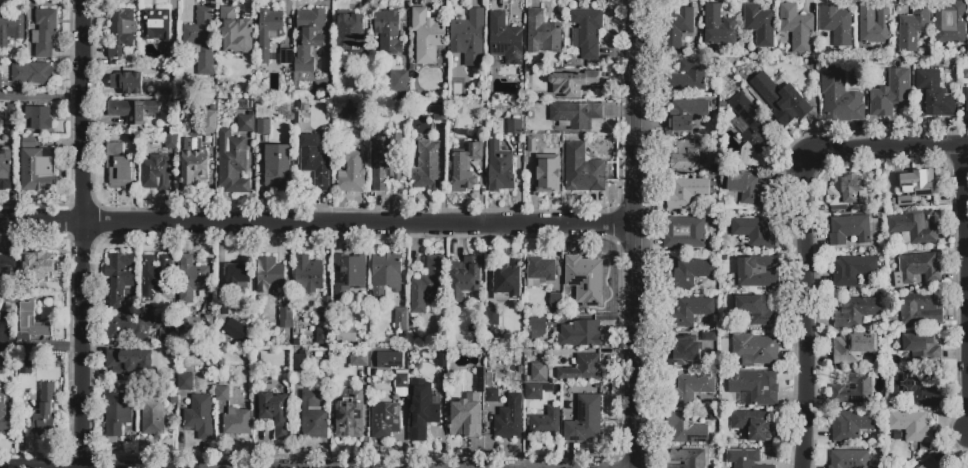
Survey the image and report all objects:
building: (950, 23)
building: (156, 24)
building: (759, 24)
building: (836, 24)
building: (873, 24)
building: (677, 26)
building: (11, 27)
building: (718, 27)
building: (796, 27)
building: (912, 28)
building: (45, 31)
building: (122, 32)
building: (234, 32)
building: (269, 32)
building: (587, 32)
building: (350, 33)
building: (388, 33)
building: (542, 33)
building: (427, 36)
building: (309, 37)
building: (469, 37)
building: (505, 39)
building: (201, 40)
building: (285, 56)
building: (172, 61)
building: (858, 66)
building: (33, 73)
building: (689, 75)
building: (0, 81)
building: (400, 81)
building: (573, 82)
building: (131, 83)
building: (891, 94)
building: (933, 95)
building: (839, 96)
building: (780, 98)
road: (41, 100)
building: (966, 102)
building: (132, 110)
building: (344, 111)
building: (437, 112)
building: (479, 114)
building: (686, 114)
building: (575, 115)
building: (12, 116)
building: (39, 117)
building: (209, 119)
building: (246, 124)
building: (263, 125)
building: (514, 126)
building: (750, 131)
building: (171, 140)
building: (685, 156)
building: (314, 158)
building: (193, 161)
building: (232, 162)
building: (386, 162)
building: (118, 165)
building: (6, 167)
building: (37, 167)
building: (426, 167)
building: (500, 167)
building: (543, 167)
building: (277, 168)
building: (464, 168)
building: (582, 170)
building: (156, 173)
building: (351, 173)
building: (917, 183)
building: (748, 188)
building: (847, 189)
building: (686, 192)
building: (905, 201)
road: (318, 225)
road: (802, 227)
building: (914, 228)
building: (849, 230)
building: (754, 232)
road: (81, 233)
road: (637, 233)
building: (685, 233)
road: (965, 262)
building: (36, 266)
building: (917, 268)
building: (6, 269)
building: (852, 270)
building: (540, 271)
building: (385, 272)
building: (757, 272)
building: (308, 273)
building: (469, 273)
building: (689, 273)
building: (269, 274)
building: (348, 275)
building: (155, 276)
building: (120, 278)
building: (238, 278)
building: (508, 278)
building: (192, 279)
building: (585, 279)
building: (427, 283)
building: (555, 300)
building: (221, 308)
building: (324, 309)
building: (757, 309)
building: (920, 310)
building: (689, 312)
building: (856, 312)
building: (286, 317)
building: (364, 317)
building: (455, 318)
building: (492, 318)
building: (401, 320)
building: (5, 321)
building: (30, 323)
building: (128, 327)
building: (196, 327)
building: (537, 327)
building: (237, 332)
building: (580, 333)
building: (166, 337)
building: (347, 337)
building: (323, 338)
building: (920, 346)
road: (40, 348)
building: (851, 348)
building: (755, 349)
building: (689, 351)
building: (168, 358)
building: (358, 358)
building: (390, 360)
building: (128, 361)
building: (9, 365)
building: (301, 366)
building: (26, 368)
building: (582, 369)
building: (540, 373)
building: (332, 375)
building: (401, 379)
building: (416, 381)
building: (185, 382)
building: (754, 387)
building: (917, 388)
building: (689, 389)
building: (852, 389)
building: (491, 390)
building: (534, 392)
building: (222, 394)
building: (44, 412)
building: (274, 413)
building: (348, 413)
building: (3, 414)
building: (314, 415)
building: (713, 416)
building: (118, 417)
building: (198, 417)
building: (510, 418)
building: (465, 419)
building: (152, 420)
building: (385, 420)
building: (585, 420)
building: (424, 421)
building: (236, 422)
building: (547, 423)
building: (852, 424)
building: (755, 425)
building: (911, 425)
building: (686, 429)
building: (687, 459)
building: (745, 459)
building: (850, 459)
building: (931, 464)
building: (946, 466)
building: (956, 467)

